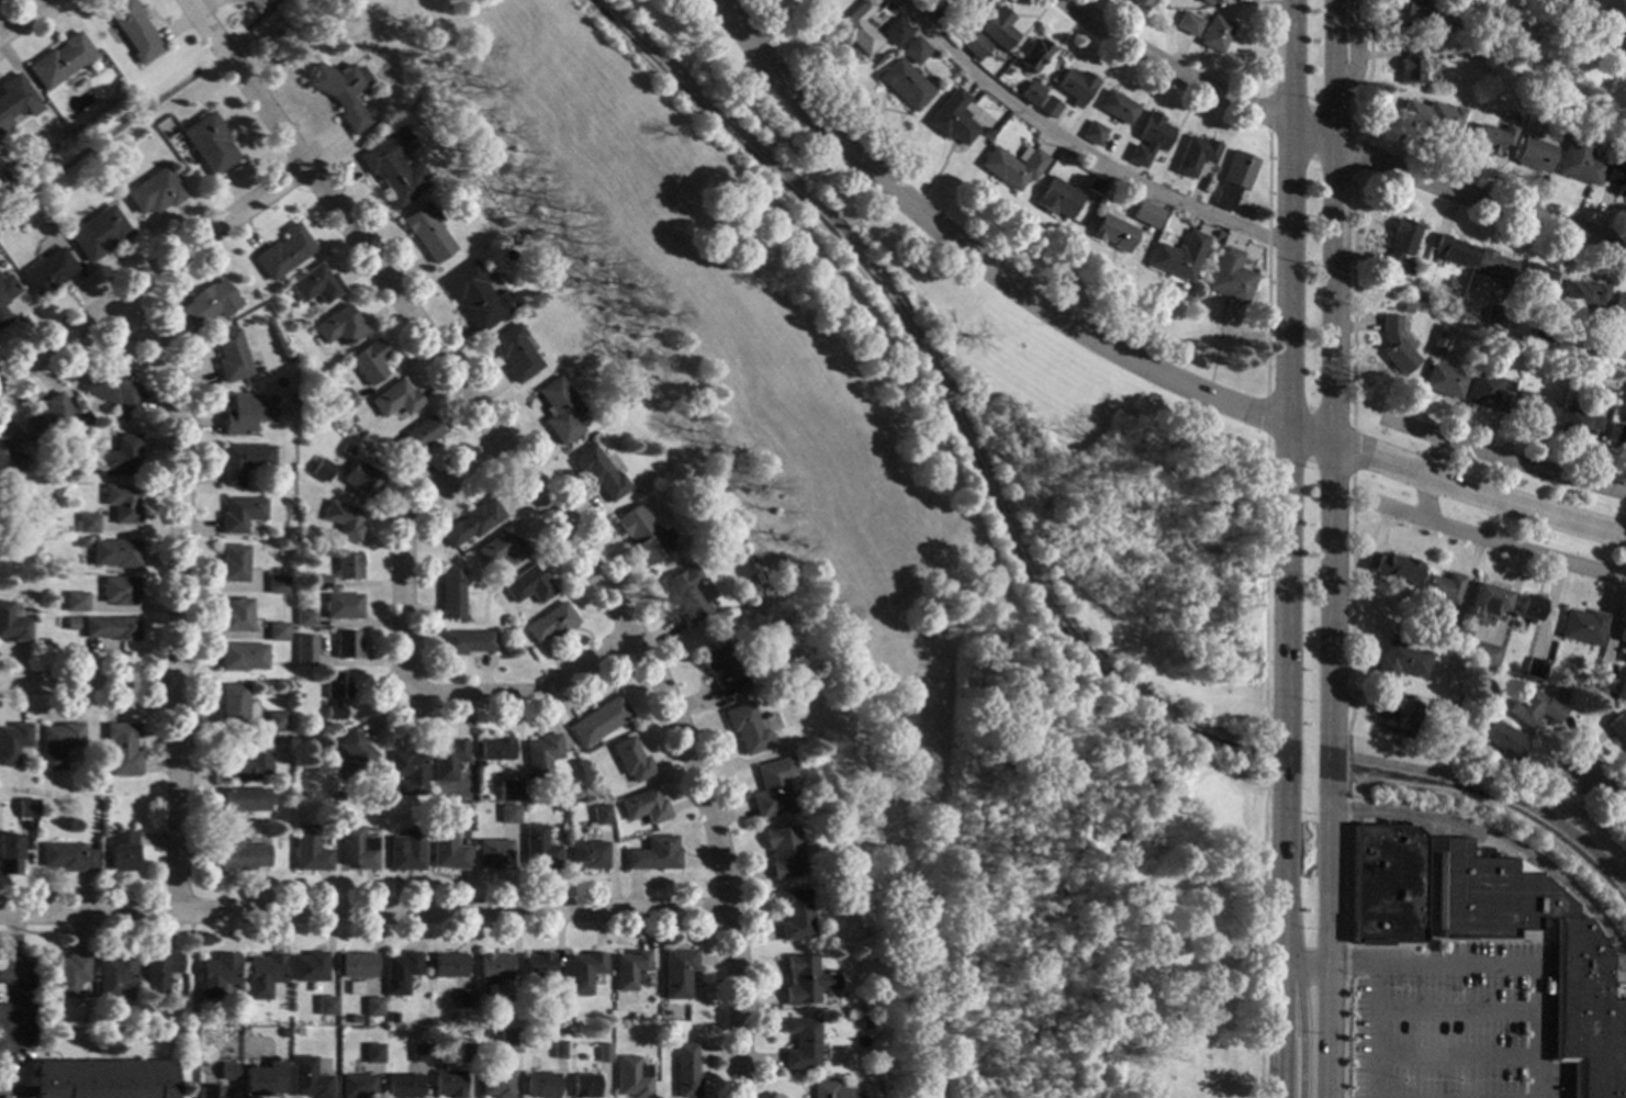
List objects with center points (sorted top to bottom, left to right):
building: (810, 1)
building: (1209, 1)
building: (1566, 1)
building: (971, 3)
building: (1140, 3)
building: (1418, 7)
road: (1278, 8)
building: (934, 10)
road: (22, 15)
building: (879, 18)
building: (1444, 22)
building: (1191, 24)
building: (131, 29)
building: (855, 29)
building: (997, 29)
building: (894, 32)
building: (1608, 32)
building: (1214, 33)
road: (1482, 38)
building: (968, 43)
road: (1268, 46)
building: (913, 51)
building: (1033, 54)
road: (1354, 55)
building: (58, 60)
building: (1410, 68)
road: (1368, 69)
building: (1005, 70)
building: (1524, 80)
building: (902, 83)
building: (1074, 86)
building: (338, 92)
building: (1030, 93)
building: (16, 99)
building: (1047, 107)
building: (1115, 107)
road: (1268, 111)
building: (950, 117)
building: (1433, 117)
building: (1614, 122)
building: (74, 127)
building: (1091, 133)
building: (1544, 133)
building: (1490, 138)
building: (1147, 139)
building: (206, 144)
road: (1069, 147)
road: (1334, 147)
road: (1354, 154)
building: (1193, 155)
building: (1533, 155)
building: (464, 158)
building: (1578, 161)
building: (1010, 166)
building: (391, 167)
building: (15, 169)
building: (1615, 177)
building: (1231, 179)
building: (1095, 184)
building: (153, 192)
building: (1055, 199)
building: (1151, 215)
building: (425, 232)
building: (1111, 232)
building: (1219, 233)
building: (97, 234)
building: (513, 238)
building: (1401, 247)
building: (1450, 250)
building: (281, 253)
road: (967, 254)
building: (1176, 256)
road: (1266, 260)
building: (1492, 266)
road: (150, 271)
building: (46, 272)
building: (1227, 277)
building: (1535, 278)
building: (313, 284)
building: (5, 288)
building: (1583, 294)
building: (472, 295)
road: (1353, 299)
building: (205, 304)
building: (1617, 307)
building: (1404, 309)
building: (1493, 315)
building: (3, 317)
building: (338, 326)
building: (1538, 330)
building: (1437, 339)
building: (1393, 345)
building: (1625, 347)
building: (513, 352)
building: (229, 356)
building: (287, 359)
building: (367, 361)
road: (1280, 365)
road: (1333, 366)
building: (1442, 381)
building: (109, 386)
building: (1487, 392)
building: (1604, 397)
building: (394, 399)
building: (341, 400)
building: (1533, 410)
building: (559, 411)
building: (246, 413)
road: (1265, 414)
building: (48, 417)
building: (349, 417)
building: (1577, 422)
building: (1616, 435)
building: (417, 436)
building: (346, 450)
road: (1352, 450)
building: (9, 452)
road: (1501, 456)
building: (119, 457)
road: (1435, 460)
building: (243, 462)
building: (321, 470)
building: (597, 473)
building: (361, 480)
road: (1450, 486)
park: (1485, 493)
road: (1424, 501)
building: (122, 503)
building: (239, 513)
road: (548, 514)
building: (343, 520)
building: (471, 523)
building: (88, 524)
building: (642, 534)
building: (80, 542)
road: (401, 542)
road: (1493, 542)
building: (501, 550)
park: (929, 552)
building: (115, 553)
building: (233, 563)
building: (347, 567)
building: (1390, 567)
road: (1263, 576)
building: (319, 580)
building: (276, 583)
building: (527, 585)
building: (1439, 587)
building: (120, 591)
road: (176, 594)
building: (449, 595)
building: (688, 595)
building: (75, 602)
building: (1483, 602)
road: (1349, 603)
building: (341, 605)
building: (1525, 607)
building: (235, 615)
building: (304, 617)
building: (1444, 621)
building: (551, 624)
building: (12, 625)
building: (70, 625)
building: (1580, 626)
building: (111, 628)
building: (276, 631)
building: (1621, 638)
building: (463, 642)
building: (346, 645)
building: (303, 656)
building: (1482, 656)
building: (242, 657)
building: (1398, 662)
building: (721, 668)
building: (1533, 669)
road: (87, 680)
building: (1603, 687)
road: (531, 693)
building: (335, 695)
building: (232, 704)
road: (388, 707)
building: (1532, 708)
building: (1392, 713)
building: (274, 720)
building: (598, 720)
building: (749, 727)
building: (1616, 730)
building: (1500, 741)
building: (13, 742)
building: (59, 743)
building: (494, 748)
building: (121, 749)
road: (1267, 751)
building: (352, 755)
building: (541, 755)
road: (1280, 757)
building: (630, 759)
building: (246, 760)
building: (447, 760)
road: (1328, 761)
road: (1345, 764)
building: (407, 773)
building: (773, 787)
building: (507, 789)
road: (1603, 789)
building: (337, 795)
building: (239, 804)
building: (643, 806)
building: (26, 808)
building: (508, 814)
building: (602, 817)
building: (588, 825)
building: (1428, 844)
road: (1502, 845)
building: (357, 848)
building: (539, 848)
building: (309, 850)
building: (405, 850)
building: (447, 850)
building: (121, 851)
building: (783, 852)
building: (9, 854)
building: (494, 854)
building: (653, 854)
building: (238, 855)
building: (587, 855)
building: (65, 856)
building: (1383, 884)
road: (86, 892)
road: (1278, 893)
road: (1431, 893)
road: (365, 908)
building: (794, 915)
road: (96, 930)
road: (1428, 939)
road: (1260, 941)
road: (1326, 943)
road: (1411, 945)
road: (1346, 946)
road: (1539, 950)
road: (13, 964)
building: (357, 964)
road: (1483, 964)
road: (1560, 964)
building: (447, 965)
building: (538, 965)
building: (493, 966)
building: (310, 967)
building: (629, 968)
building: (158, 972)
building: (399, 972)
building: (583, 972)
building: (216, 973)
building: (69, 974)
building: (677, 974)
road: (7, 975)
building: (114, 975)
building: (262, 975)
building: (1580, 977)
building: (805, 979)
road: (1299, 984)
building: (318, 988)
building: (557, 996)
building: (463, 998)
road: (190, 1004)
building: (324, 1005)
building: (373, 1007)
building: (509, 1007)
building: (863, 1007)
road: (1455, 1009)
parking lot: (18, 1010)
building: (49, 1020)
building: (108, 1020)
building: (224, 1021)
building: (368, 1021)
parking lot: (1454, 1021)
road: (13, 1028)
road: (1373, 1031)
building: (300, 1032)
building: (282, 1033)
building: (800, 1043)
road: (36, 1047)
building: (558, 1050)
road: (1276, 1051)
building: (418, 1052)
building: (464, 1052)
building: (511, 1052)
building: (603, 1052)
building: (372, 1054)
road: (1455, 1055)
building: (226, 1069)
building: (685, 1071)
building: (631, 1077)
building: (103, 1079)
building: (261, 1079)
building: (307, 1079)
building: (447, 1082)
building: (495, 1084)
building: (356, 1086)
building: (402, 1086)
building: (540, 1086)
building: (584, 1086)
building: (822, 1089)
road: (16, 1090)
building: (208, 1091)

